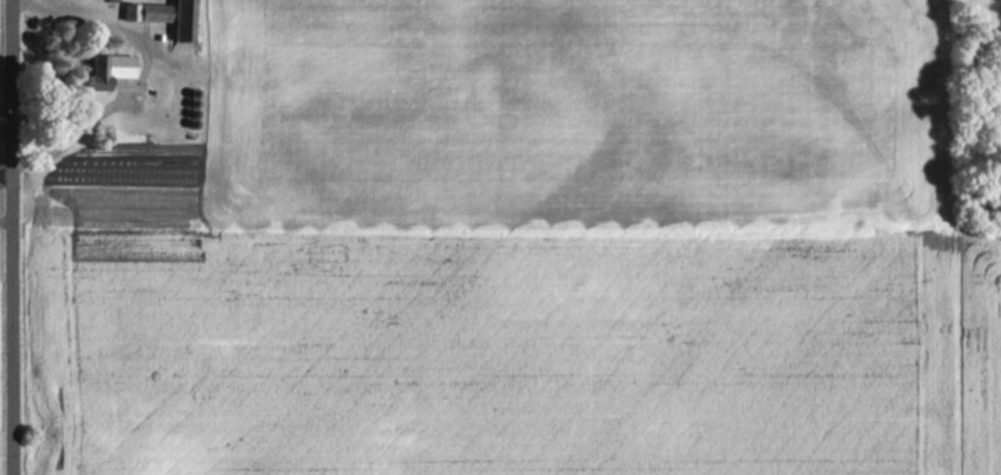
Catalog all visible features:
building: (152, 12)
building: (189, 21)
building: (113, 70)
road: (140, 76)
road: (7, 171)
road: (7, 218)
road: (14, 237)

